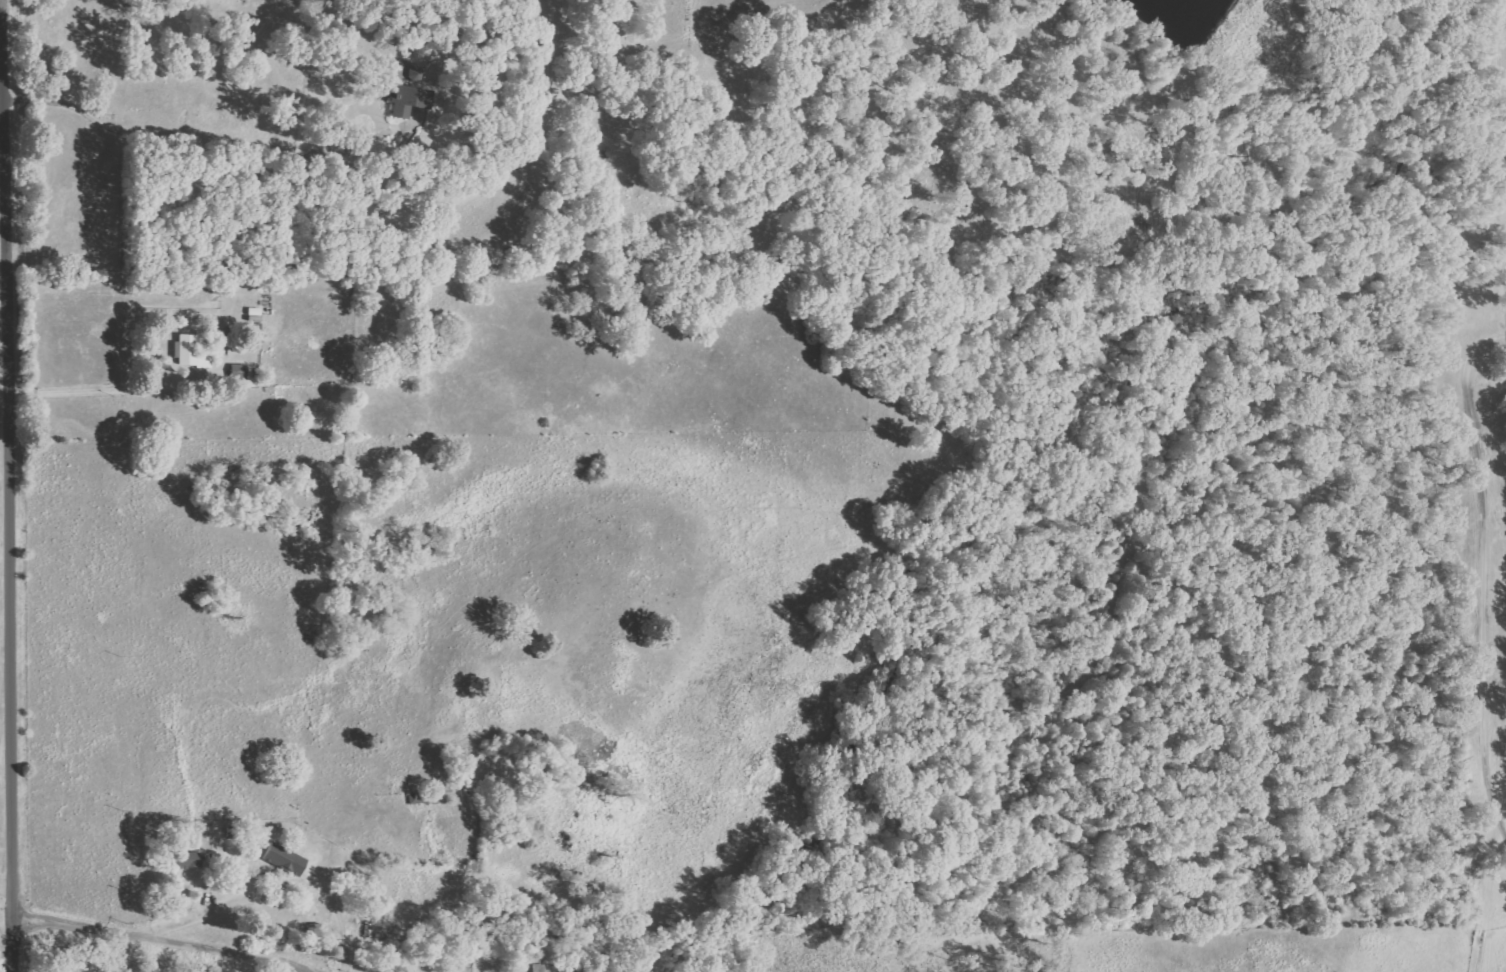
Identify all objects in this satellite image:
building: (418, 73)
building: (411, 96)
building: (193, 354)
road: (68, 385)
road: (18, 485)
road: (1484, 572)
building: (191, 859)
building: (286, 859)
road: (11, 878)
road: (176, 936)
building: (534, 969)

